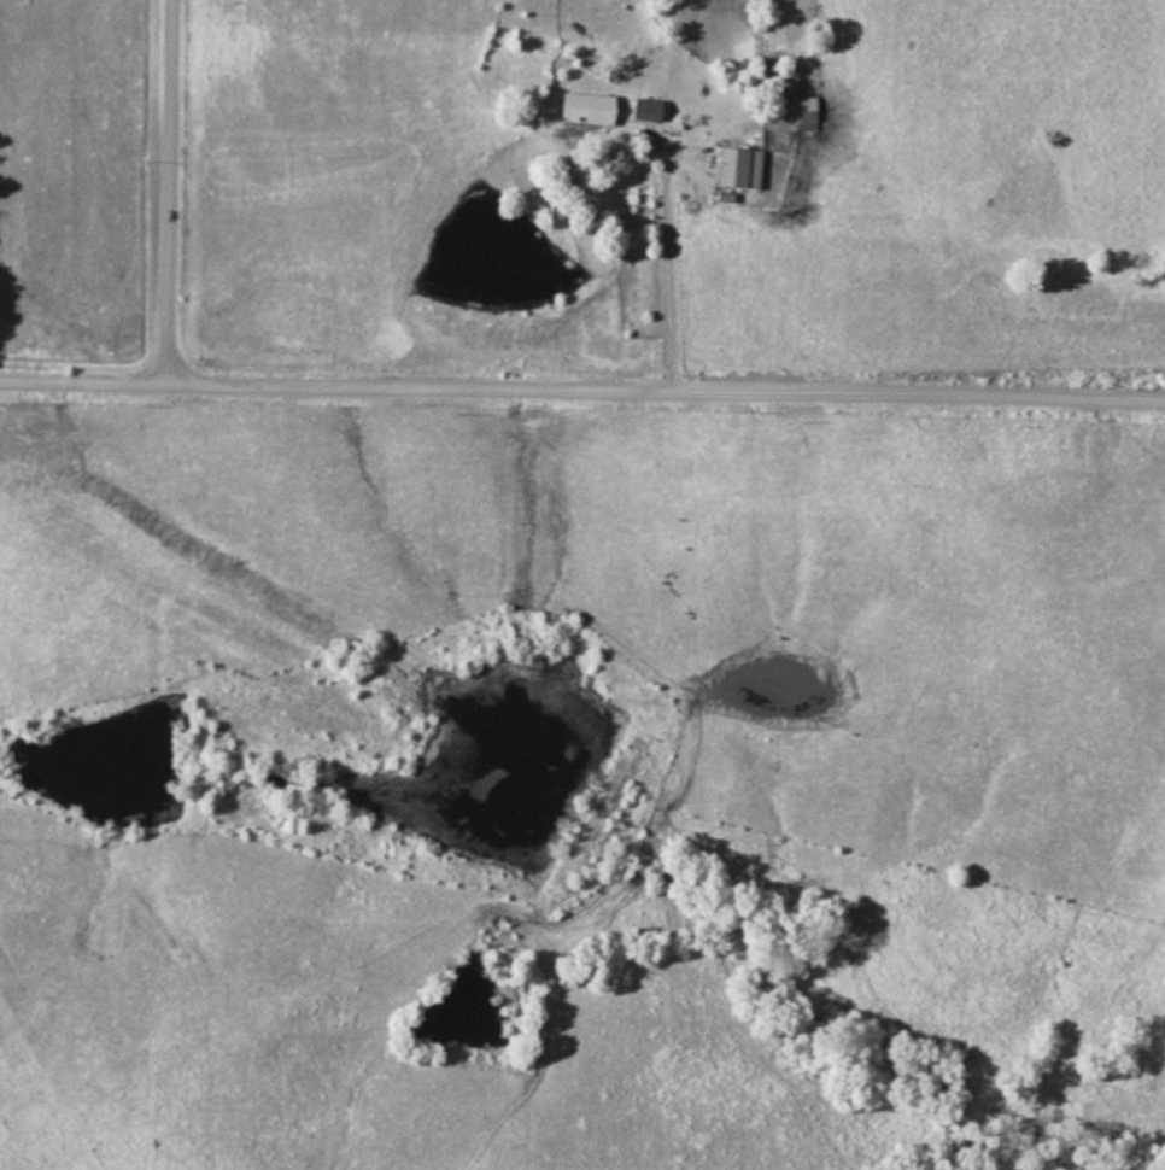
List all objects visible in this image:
building: (584, 109)
building: (644, 110)
building: (802, 113)
building: (736, 168)
road: (170, 194)
road: (667, 263)
road: (581, 392)

